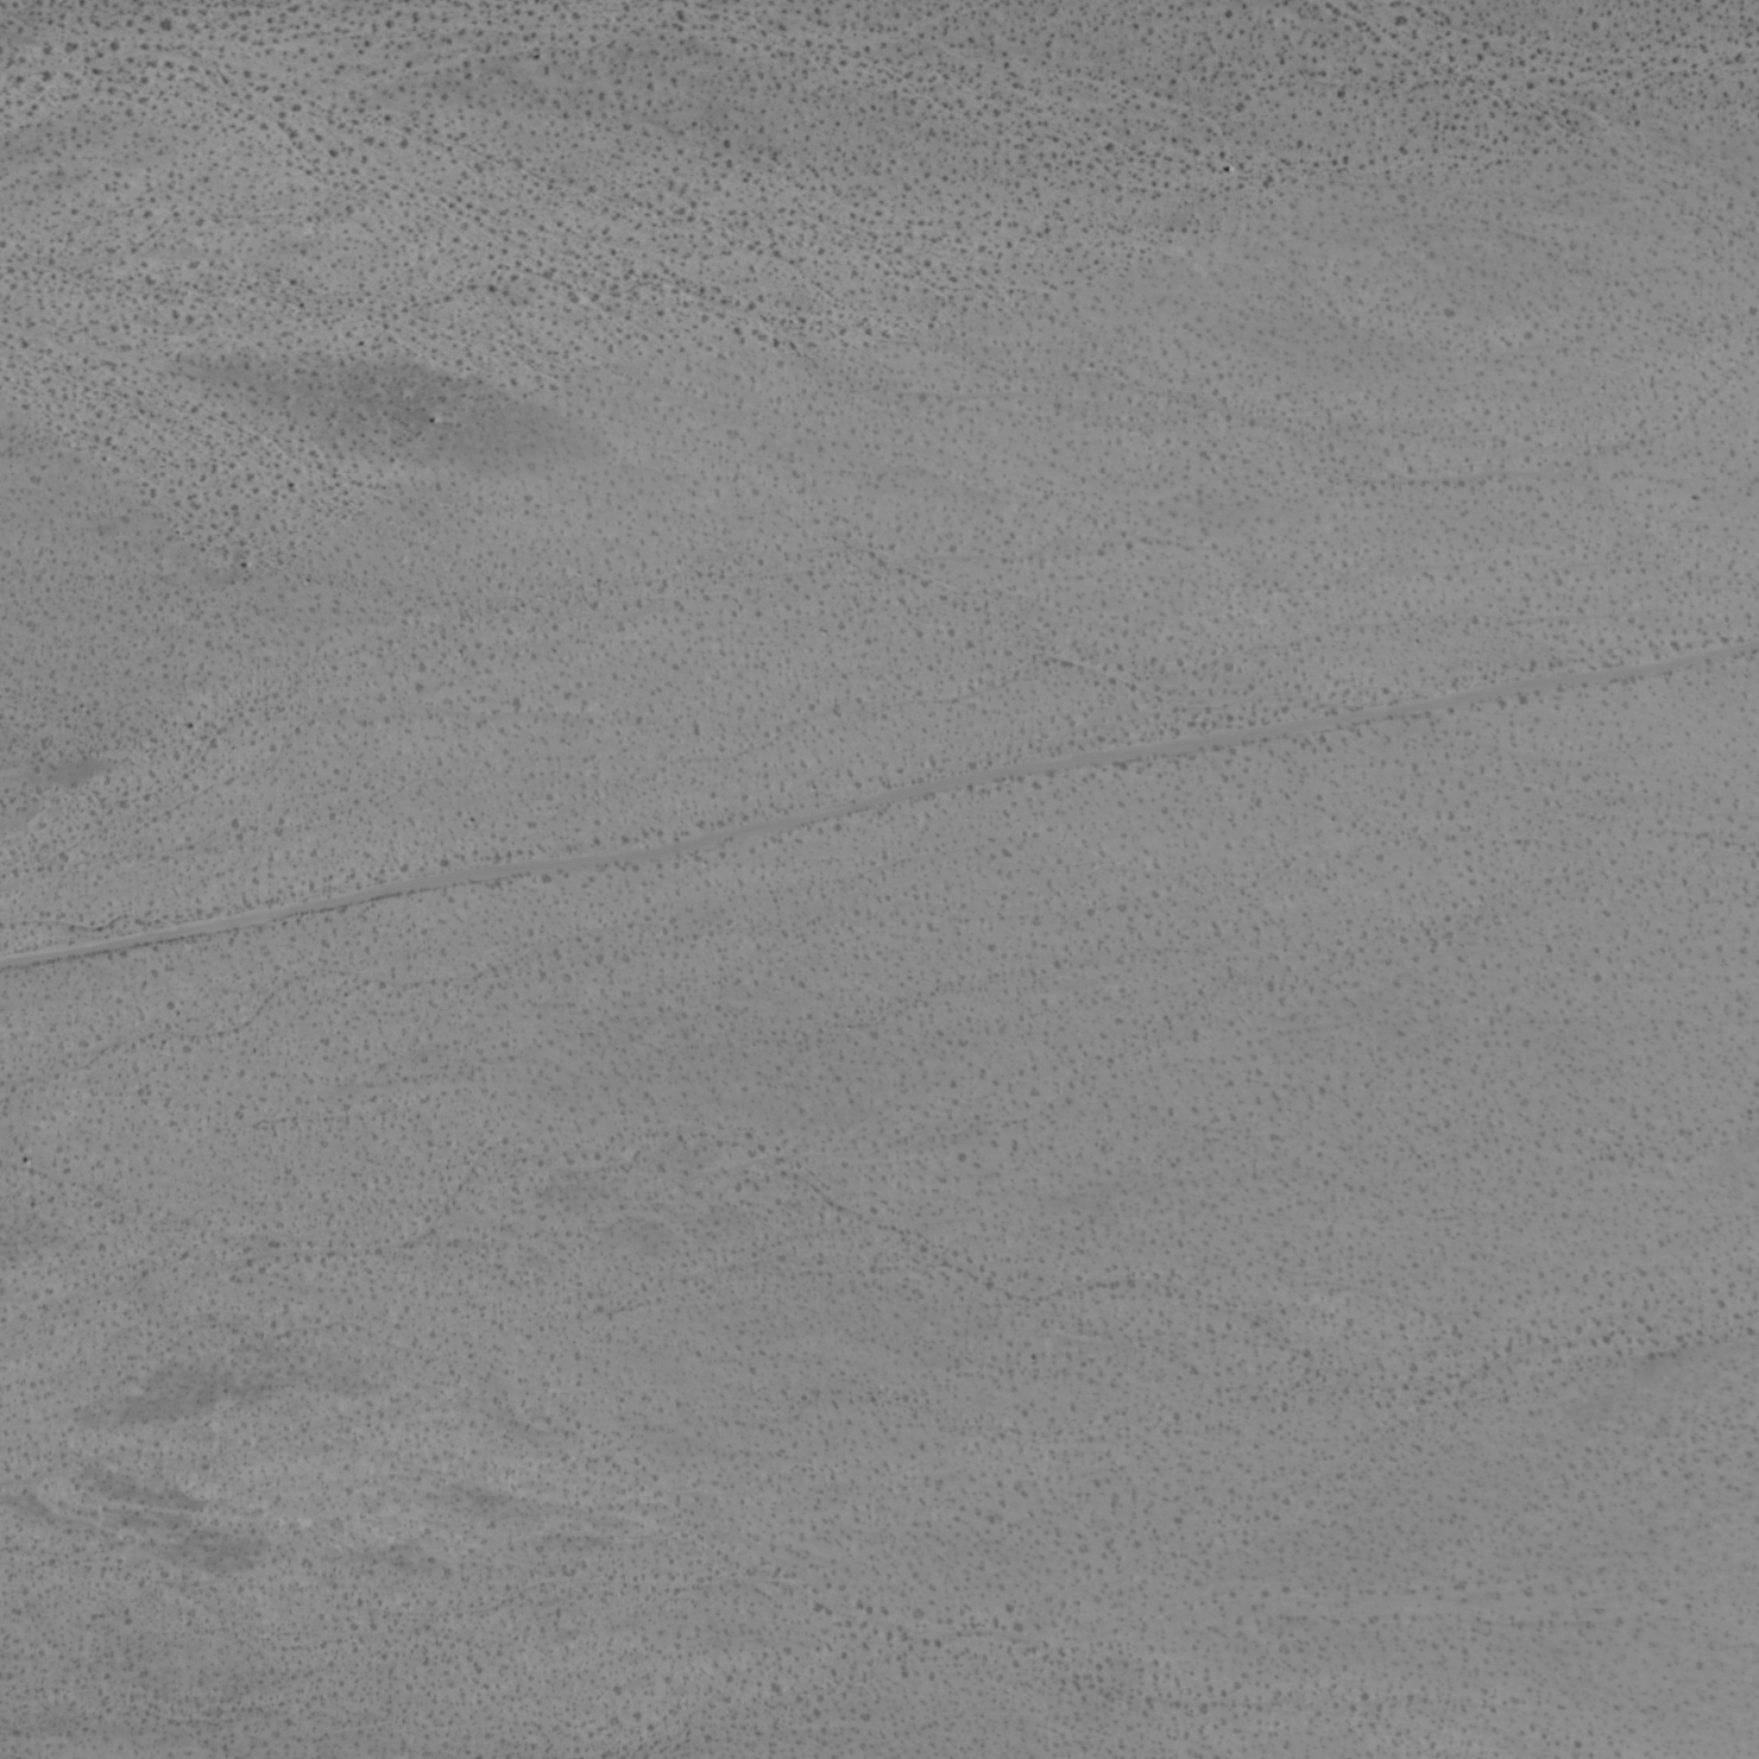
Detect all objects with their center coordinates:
road: (878, 775)

